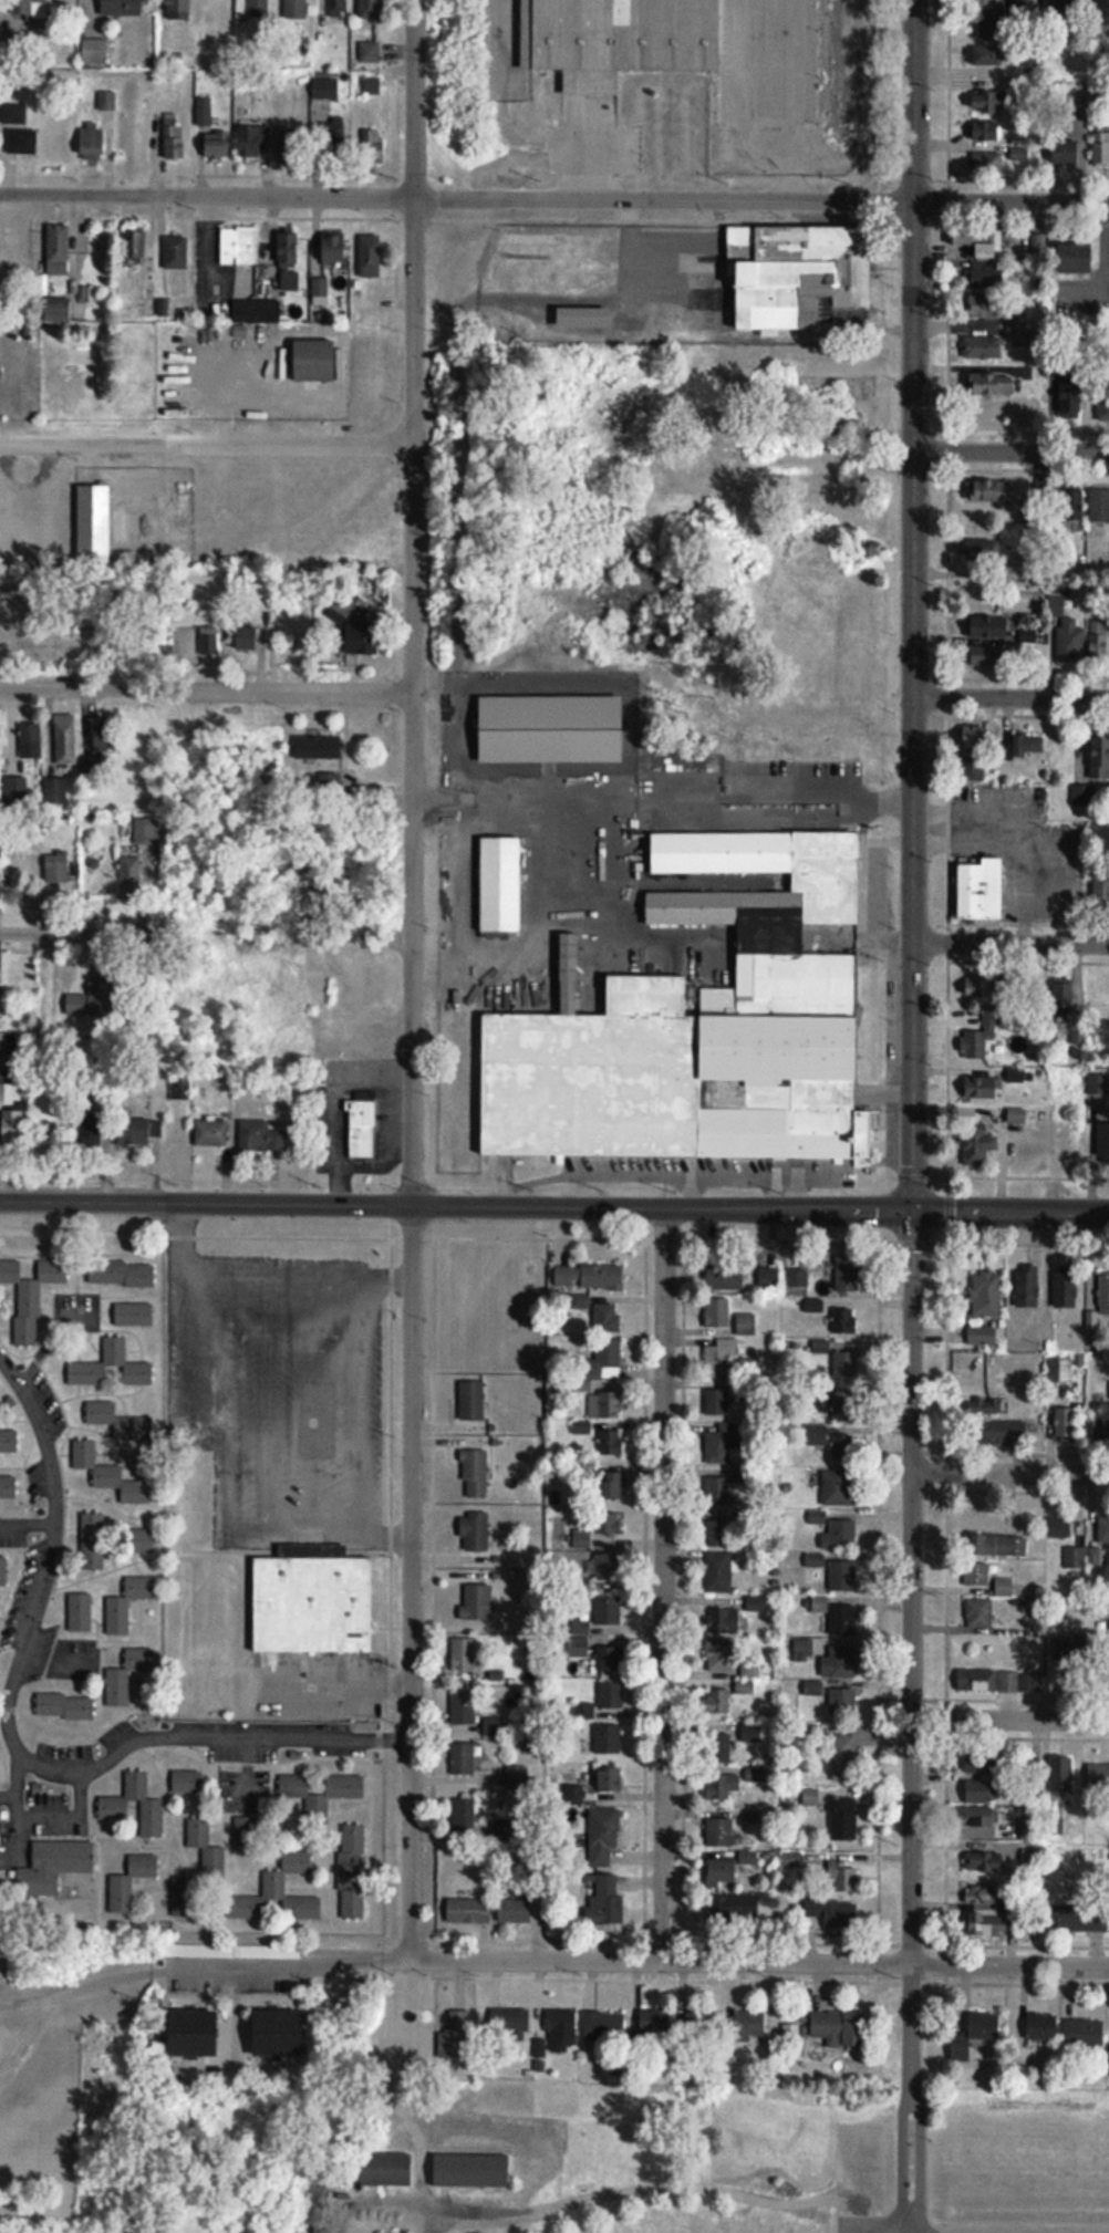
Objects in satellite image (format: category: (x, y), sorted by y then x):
building: (1004, 3)
building: (34, 8)
building: (121, 8)
building: (259, 9)
building: (338, 9)
building: (371, 9)
building: (178, 10)
building: (296, 10)
building: (1066, 10)
building: (1105, 12)
building: (600, 35)
building: (370, 52)
building: (989, 55)
parking lot: (753, 70)
road: (797, 74)
building: (373, 85)
building: (325, 89)
road: (738, 89)
road: (414, 97)
road: (911, 101)
building: (989, 103)
building: (205, 111)
building: (14, 114)
building: (986, 131)
building: (174, 137)
building: (21, 141)
building: (333, 141)
building: (92, 142)
building: (253, 143)
building: (217, 145)
building: (294, 145)
building: (373, 146)
building: (1100, 146)
building: (1066, 153)
building: (986, 163)
road: (588, 169)
road: (786, 173)
road: (207, 195)
road: (663, 199)
road: (1010, 202)
building: (134, 242)
building: (238, 246)
building: (333, 248)
building: (58, 249)
building: (176, 252)
building: (983, 253)
building: (370, 256)
building: (1076, 258)
building: (289, 260)
building: (797, 273)
building: (985, 307)
building: (257, 311)
building: (585, 318)
road: (913, 326)
building: (997, 343)
building: (318, 360)
building: (1, 372)
building: (993, 385)
building: (1071, 398)
building: (1103, 404)
road: (207, 438)
road: (1012, 453)
building: (991, 491)
building: (1070, 503)
building: (1099, 506)
building: (94, 523)
building: (120, 525)
building: (985, 551)
building: (987, 626)
building: (250, 638)
building: (1099, 638)
building: (363, 640)
building: (206, 642)
building: (165, 643)
building: (1070, 643)
building: (988, 656)
road: (205, 692)
road: (1012, 698)
road: (411, 700)
building: (66, 739)
building: (29, 740)
building: (319, 748)
building: (1020, 748)
building: (973, 754)
building: (1100, 758)
building: (330, 785)
building: (56, 790)
building: (14, 792)
building: (1084, 796)
road: (666, 799)
road: (913, 831)
building: (56, 869)
building: (128, 879)
building: (500, 883)
building: (982, 891)
building: (1101, 893)
road: (84, 929)
road: (1010, 943)
building: (1068, 986)
building: (983, 987)
building: (1099, 997)
building: (93, 1000)
building: (976, 1043)
building: (687, 1067)
building: (1097, 1084)
building: (180, 1088)
building: (982, 1088)
building: (11, 1107)
building: (99, 1125)
building: (362, 1130)
building: (134, 1133)
building: (210, 1134)
building: (261, 1138)
building: (1103, 1142)
building: (982, 1143)
road: (206, 1197)
road: (760, 1208)
road: (239, 1273)
building: (122, 1274)
building: (726, 1275)
building: (585, 1276)
road: (386, 1278)
building: (768, 1278)
building: (848, 1282)
building: (1025, 1286)
building: (1066, 1289)
building: (986, 1295)
building: (31, 1296)
building: (718, 1312)
building: (134, 1315)
building: (605, 1318)
building: (844, 1321)
building: (986, 1336)
building: (115, 1349)
building: (721, 1354)
building: (603, 1359)
building: (846, 1365)
building: (1059, 1369)
building: (473, 1400)
building: (718, 1400)
road: (362, 1402)
building: (605, 1404)
building: (988, 1406)
building: (843, 1409)
building: (120, 1421)
building: (1101, 1422)
building: (1066, 1424)
building: (998, 1432)
building: (9, 1441)
building: (611, 1442)
building: (721, 1447)
road: (1009, 1473)
building: (475, 1474)
building: (842, 1474)
building: (111, 1475)
building: (611, 1484)
building: (8, 1489)
building: (717, 1491)
road: (24, 1518)
building: (607, 1523)
building: (1060, 1527)
building: (719, 1528)
building: (1103, 1529)
building: (475, 1531)
building: (839, 1534)
building: (582, 1537)
road: (374, 1538)
building: (93, 1539)
building: (143, 1540)
building: (1003, 1545)
building: (1075, 1557)
building: (608, 1566)
building: (3, 1571)
building: (719, 1571)
building: (843, 1574)
building: (977, 1574)
road: (395, 1576)
road: (663, 1585)
building: (1005, 1587)
road: (911, 1588)
building: (298, 1602)
building: (478, 1602)
building: (756, 1602)
building: (127, 1603)
building: (609, 1610)
building: (80, 1611)
building: (981, 1613)
building: (842, 1619)
building: (723, 1620)
building: (1071, 1647)
building: (465, 1654)
building: (722, 1654)
building: (609, 1658)
building: (839, 1661)
building: (127, 1675)
building: (988, 1680)
road: (332, 1685)
building: (813, 1689)
building: (610, 1695)
building: (718, 1701)
building: (842, 1702)
building: (65, 1706)
building: (463, 1707)
road: (1010, 1717)
building: (608, 1739)
building: (722, 1742)
road: (14, 1752)
building: (844, 1758)
building: (463, 1759)
building: (1061, 1775)
building: (1098, 1776)
building: (519, 1777)
building: (610, 1778)
building: (187, 1782)
building: (722, 1786)
building: (985, 1791)
building: (322, 1796)
road: (7, 1797)
building: (811, 1798)
building: (114, 1810)
building: (464, 1816)
building: (843, 1818)
road: (34, 1821)
building: (983, 1822)
building: (603, 1832)
building: (719, 1832)
road: (12, 1838)
building: (206, 1848)
building: (748, 1858)
building: (987, 1863)
building: (353, 1871)
building: (722, 1872)
building: (841, 1878)
building: (131, 1882)
building: (274, 1884)
building: (984, 1896)
building: (605, 1900)
building: (733, 1910)
building: (469, 1911)
building: (516, 1912)
building: (833, 1912)
building: (1079, 1918)
building: (987, 1925)
road: (542, 1954)
building: (702, 2023)
building: (655, 2024)
road: (910, 2024)
building: (510, 2025)
building: (604, 2026)
building: (749, 2026)
building: (837, 2026)
building: (1043, 2027)
building: (562, 2031)
building: (1084, 2033)
building: (194, 2034)
building: (268, 2034)
building: (975, 2035)
building: (456, 2036)
road: (898, 2148)
road: (923, 2151)
park: (634, 2162)
building: (386, 2169)
building: (473, 2170)
building: (336, 2200)
road: (1017, 2225)
parking lot: (951, 2229)

